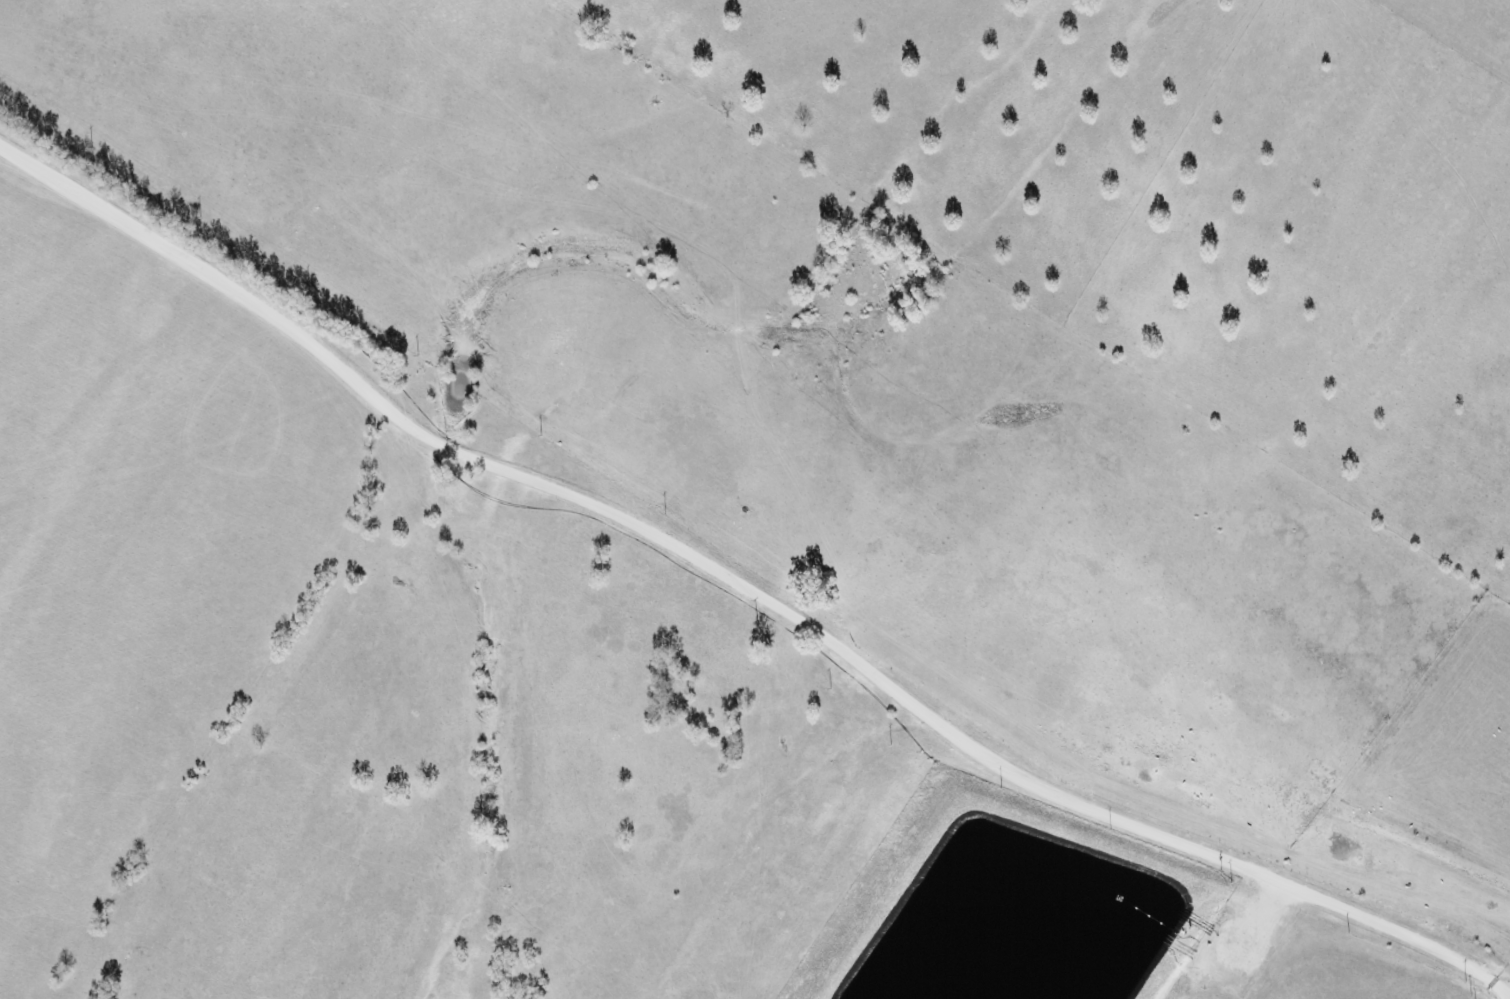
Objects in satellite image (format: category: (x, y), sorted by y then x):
road: (743, 591)

